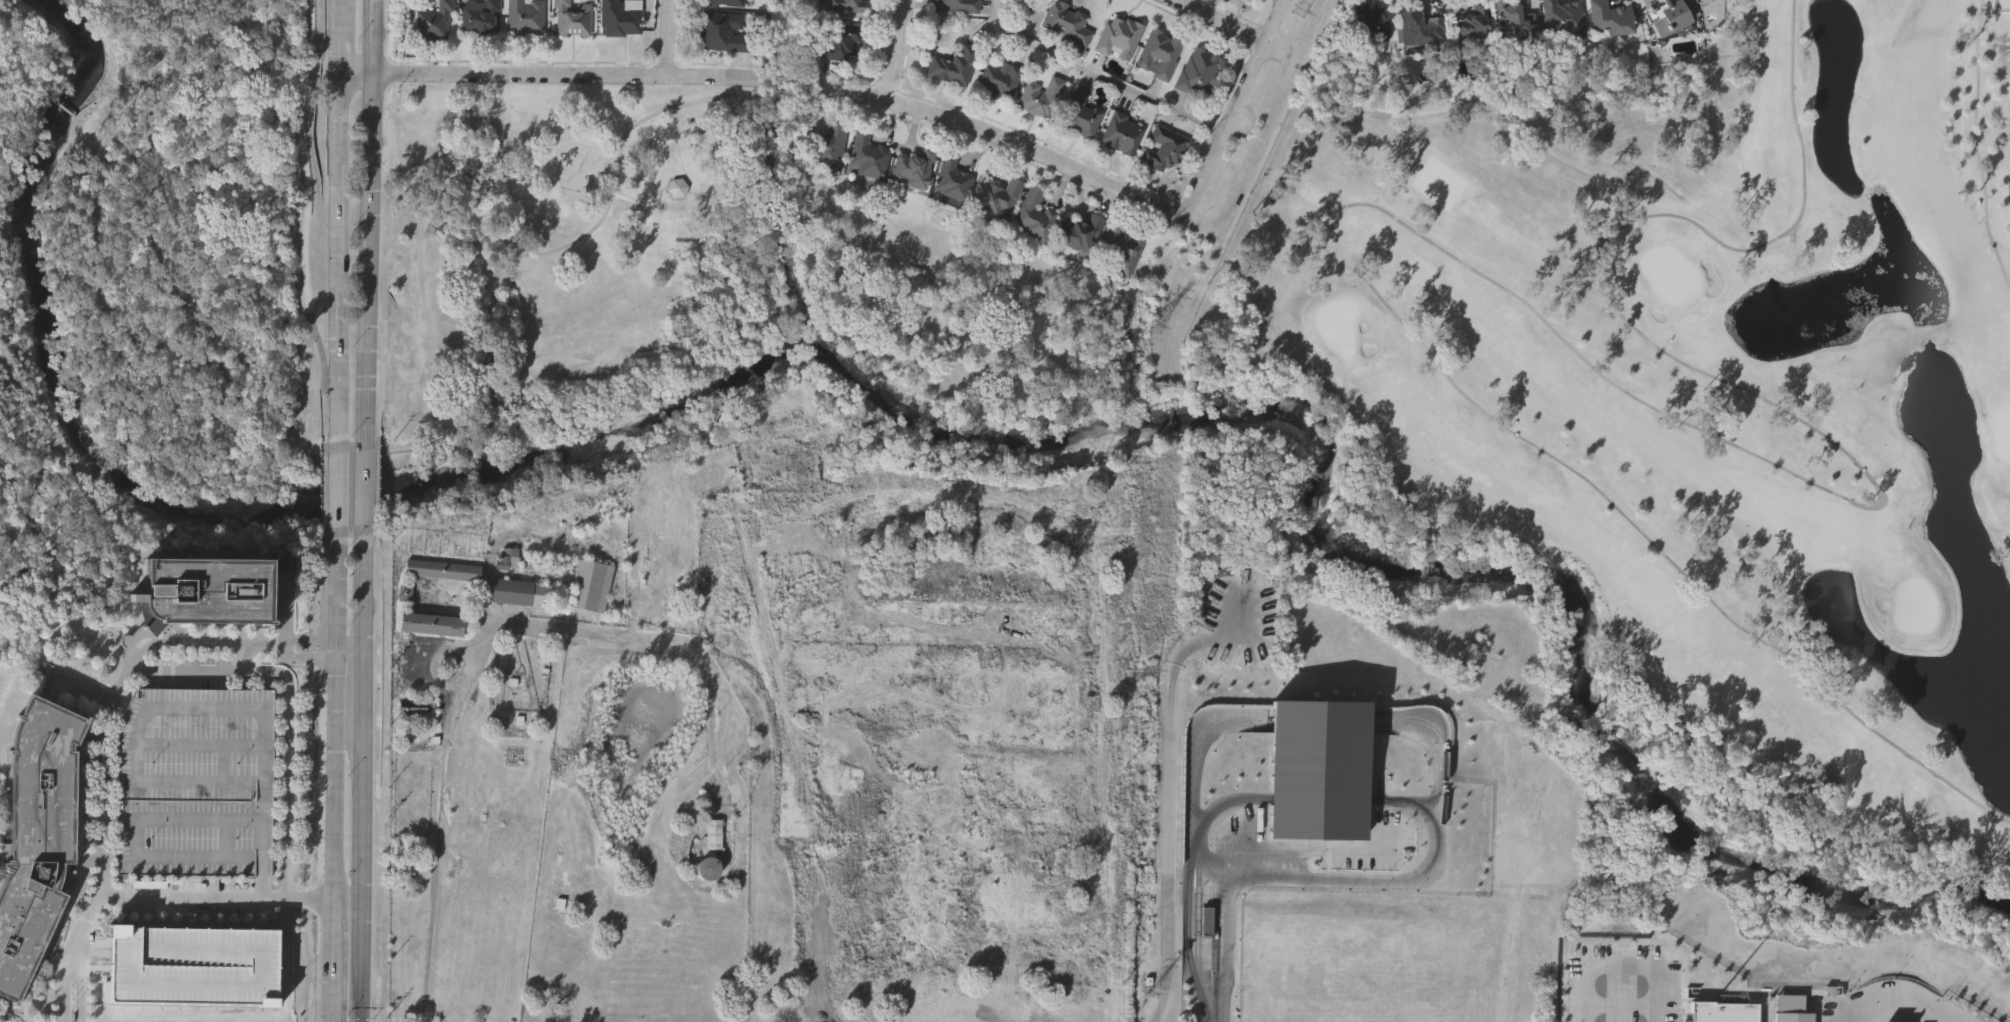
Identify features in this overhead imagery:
building: (1251, 0)
building: (723, 2)
building: (847, 5)
building: (957, 5)
power tower: (1297, 12)
building: (480, 14)
building: (527, 16)
building: (1668, 16)
building: (574, 18)
building: (617, 18)
building: (1512, 18)
building: (1561, 18)
building: (1608, 18)
building: (434, 19)
building: (1067, 23)
building: (1366, 23)
building: (1471, 24)
road: (1235, 29)
building: (1416, 29)
building: (722, 33)
building: (1118, 36)
road: (668, 37)
building: (838, 42)
road: (894, 50)
building: (1158, 52)
building: (956, 65)
building: (1198, 70)
road: (1098, 75)
building: (1000, 79)
road: (795, 83)
building: (1040, 96)
road: (1233, 110)
building: (1079, 113)
road: (1272, 118)
building: (1121, 130)
road: (969, 138)
building: (826, 145)
building: (1165, 146)
building: (867, 154)
road: (306, 156)
road: (611, 156)
building: (914, 166)
building: (953, 179)
building: (676, 187)
building: (996, 197)
road: (608, 204)
building: (1033, 214)
road: (369, 219)
road: (339, 220)
building: (1081, 231)
park: (170, 239)
building: (1123, 249)
building: (449, 257)
road: (464, 259)
road: (94, 263)
park: (562, 274)
road: (383, 280)
power tower: (1156, 331)
road: (110, 354)
road: (118, 373)
park: (1564, 380)
road: (440, 424)
building: (784, 477)
road: (365, 480)
road: (337, 484)
building: (507, 558)
building: (795, 558)
building: (441, 569)
building: (591, 586)
building: (211, 591)
building: (520, 591)
road: (1151, 619)
building: (431, 624)
road: (281, 626)
road: (203, 639)
road: (321, 640)
road: (245, 655)
road: (321, 656)
power tower: (1147, 672)
road: (264, 679)
building: (412, 705)
road: (378, 735)
road: (312, 772)
road: (358, 772)
road: (333, 774)
building: (1313, 774)
building: (1391, 777)
building: (193, 782)
parking garage: (193, 782)
road: (104, 798)
road: (439, 826)
building: (713, 834)
building: (35, 837)
building: (1546, 843)
building: (1304, 845)
road: (284, 851)
building: (1034, 852)
building: (405, 863)
building: (706, 868)
road: (1244, 877)
building: (925, 882)
road: (261, 887)
road: (213, 897)
building: (1431, 955)
parking lot: (188, 958)
road: (1625, 961)
power tower: (1151, 979)
building: (1305, 979)
road: (59, 993)
road: (79, 993)
road: (1896, 995)
building: (1792, 1008)
building: (1723, 1011)

